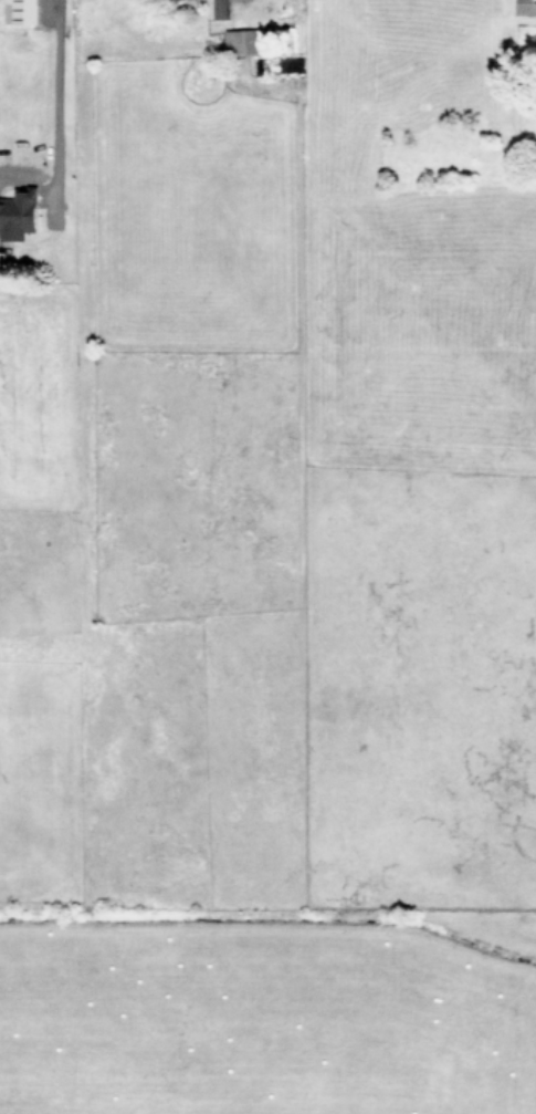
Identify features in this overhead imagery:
building: (220, 8)
building: (20, 11)
building: (244, 40)
road: (51, 97)
building: (18, 212)

